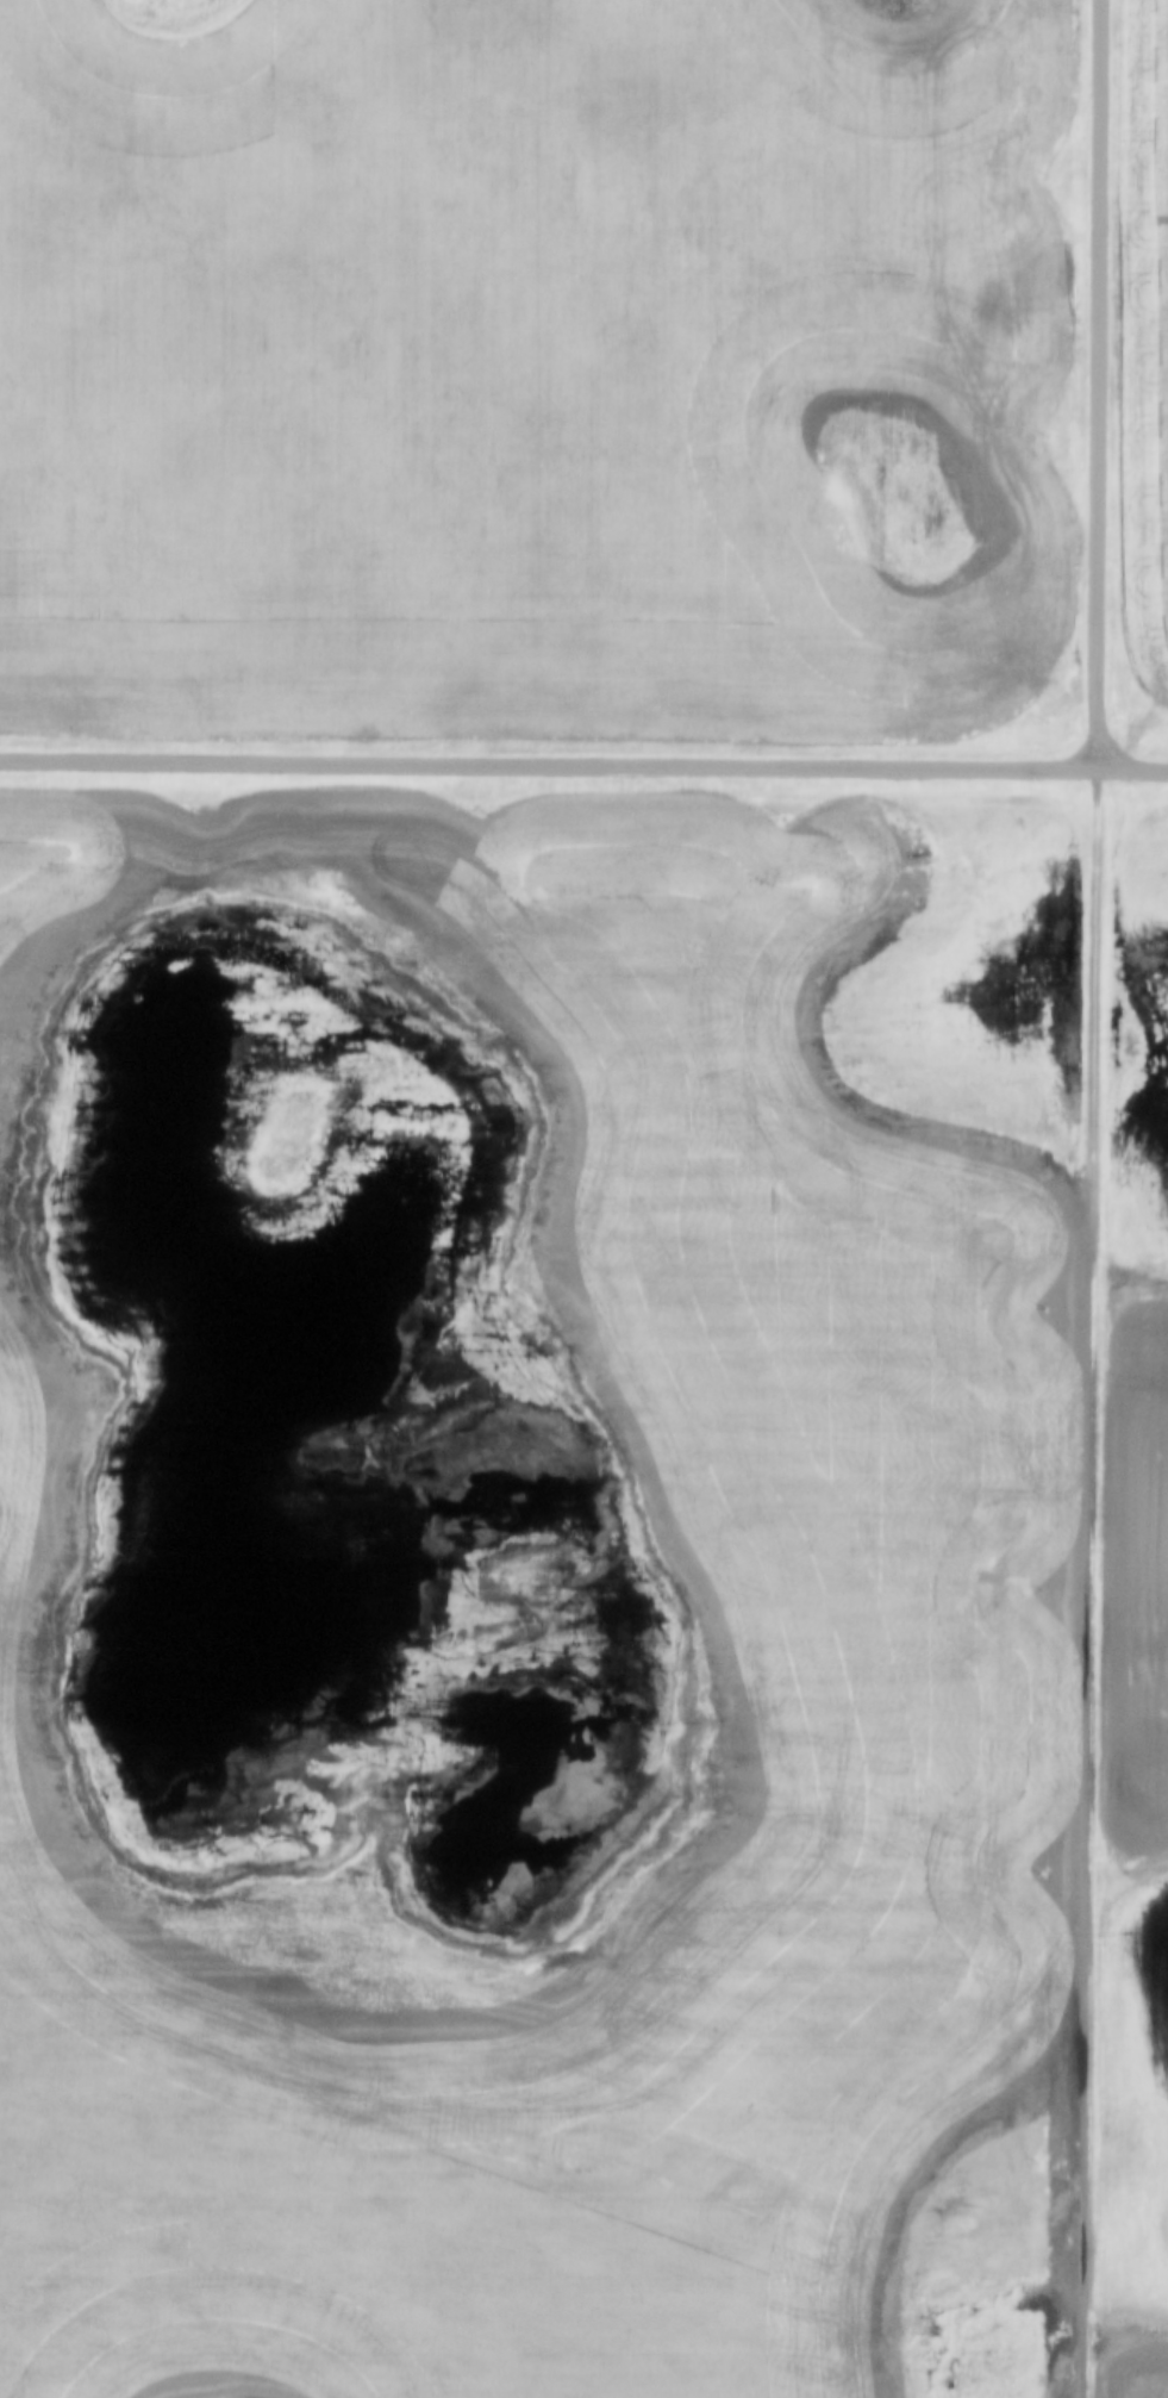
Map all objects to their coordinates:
road: (1099, 385)
road: (583, 766)
road: (1091, 1583)

